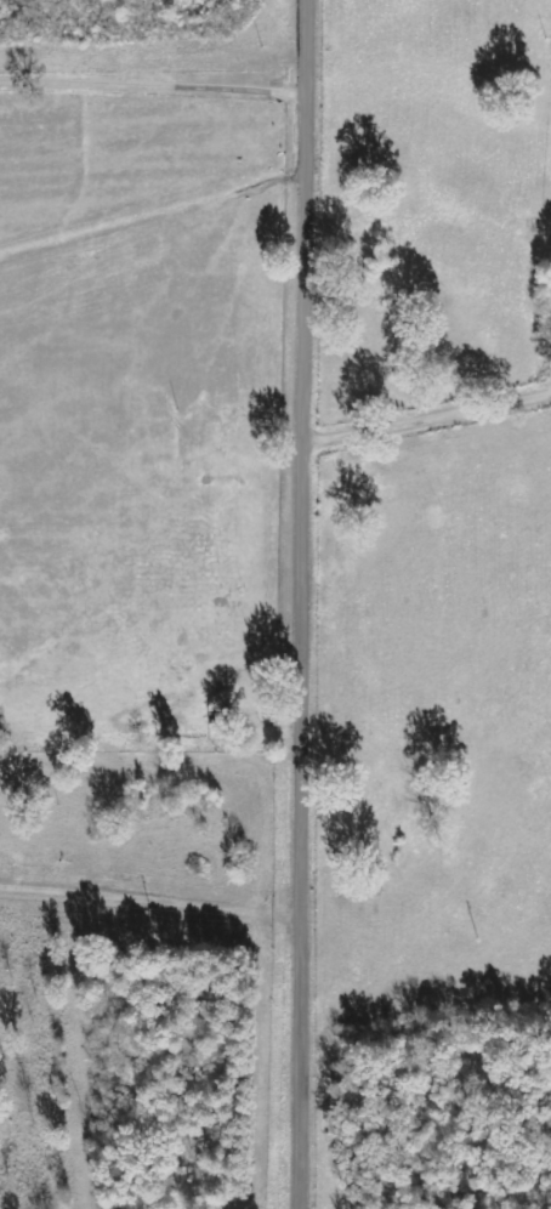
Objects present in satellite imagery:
road: (308, 603)

